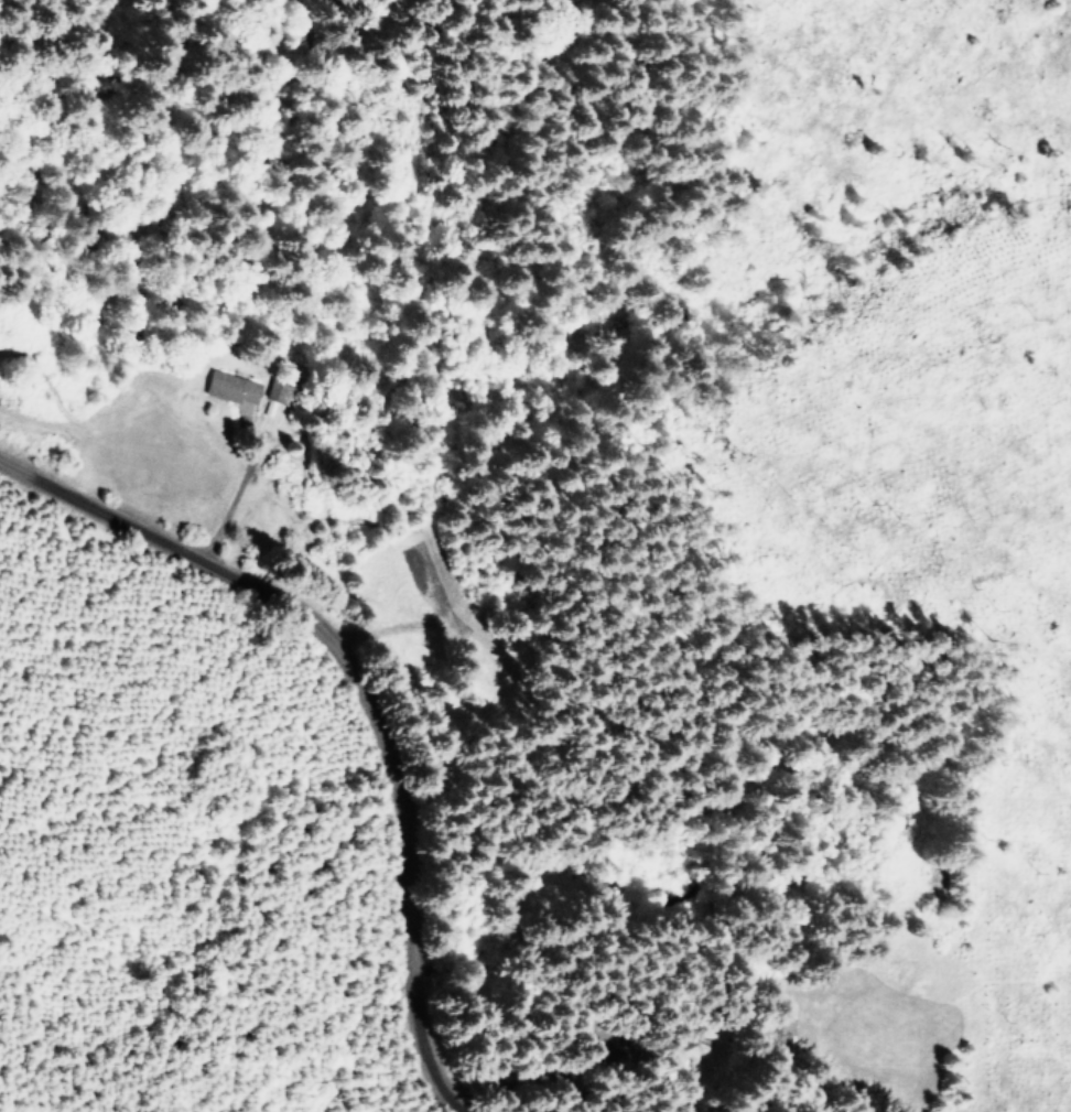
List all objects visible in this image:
road: (226, 506)
road: (356, 699)

